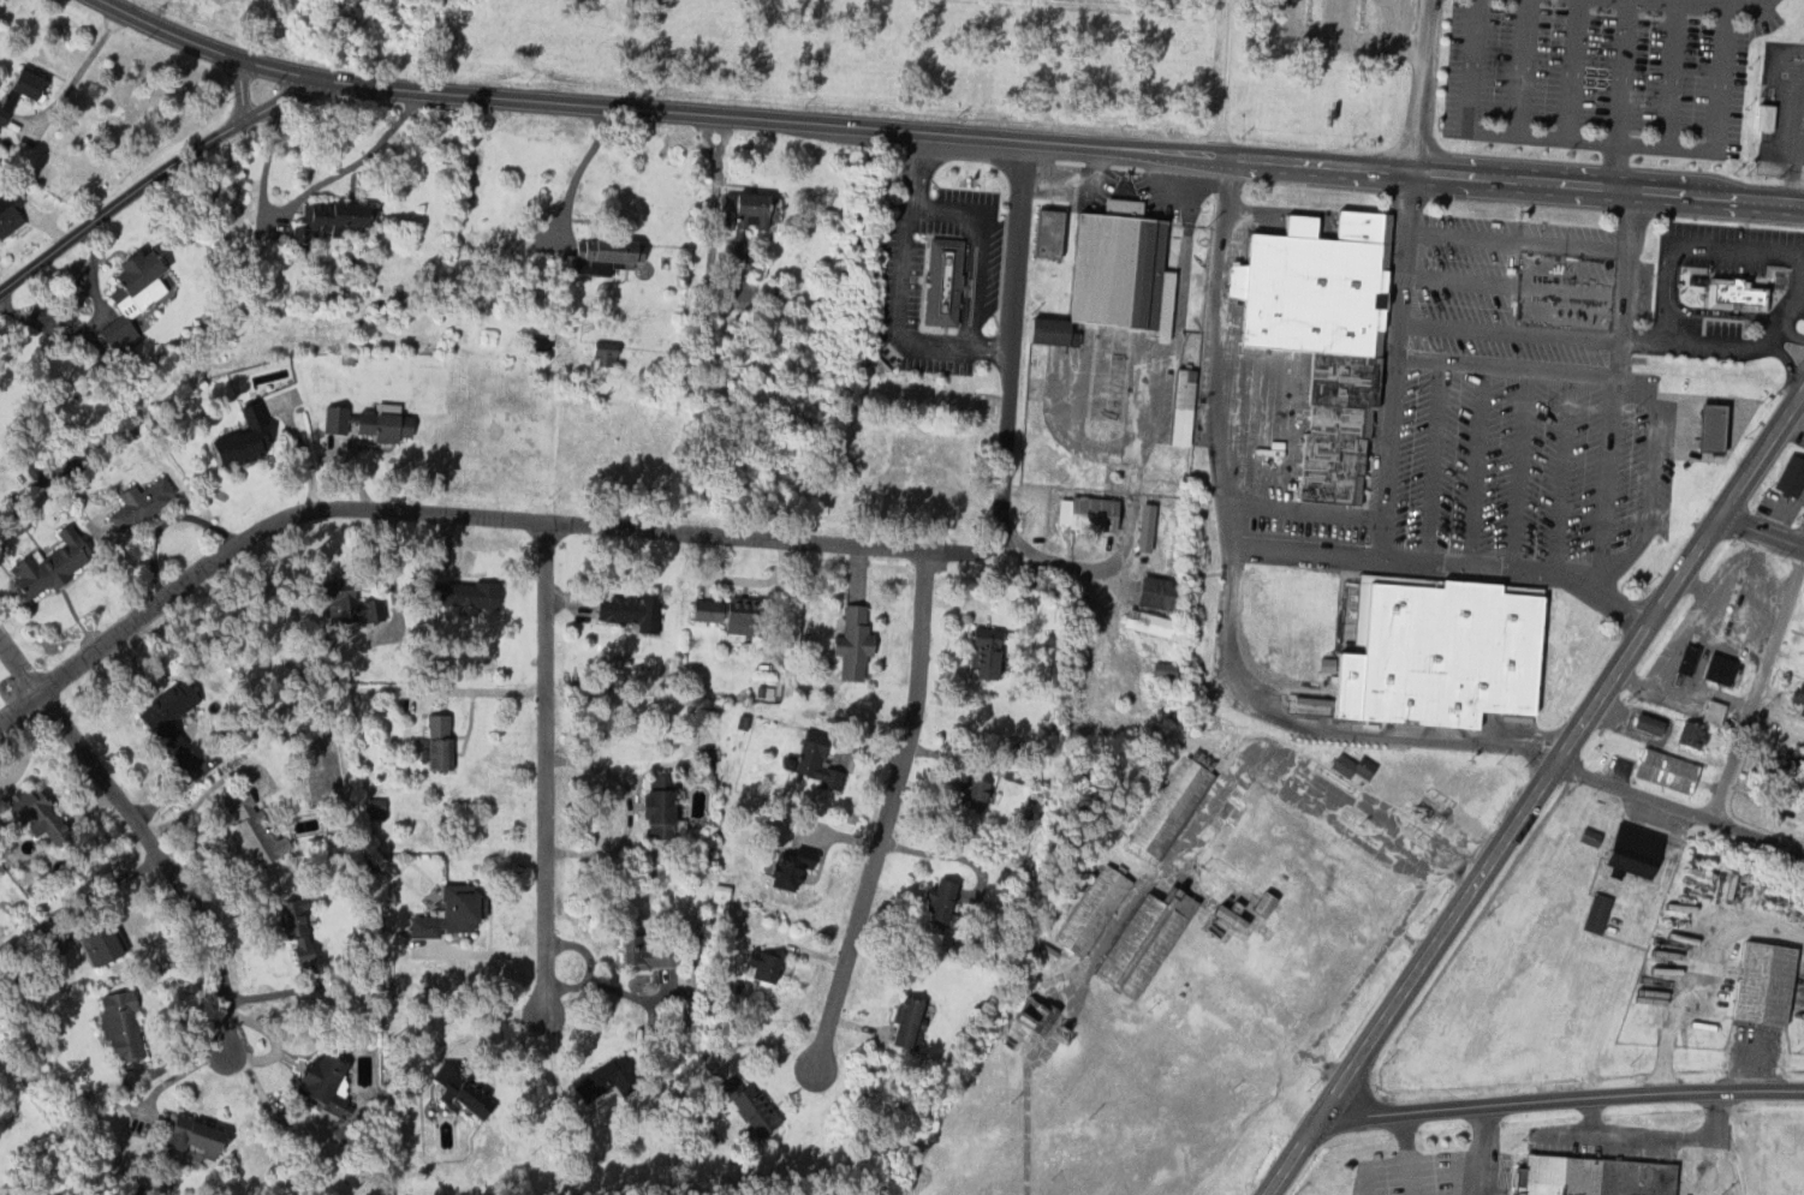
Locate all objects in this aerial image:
road: (1697, 2)
road: (1738, 2)
parking lot: (1601, 74)
road: (1418, 86)
building: (25, 91)
road: (1619, 95)
road: (948, 135)
road: (145, 183)
building: (8, 204)
building: (744, 210)
building: (334, 217)
building: (1043, 232)
building: (595, 259)
building: (149, 267)
building: (1109, 274)
building: (937, 281)
building: (1731, 292)
building: (120, 330)
building: (1315, 335)
building: (601, 352)
road: (1614, 389)
parking lot: (1525, 402)
building: (1177, 406)
building: (388, 424)
building: (1703, 426)
building: (250, 441)
building: (1787, 476)
building: (143, 503)
road: (1379, 510)
building: (1084, 513)
building: (1139, 527)
road: (666, 528)
road: (1763, 528)
road: (1058, 558)
building: (54, 562)
building: (1149, 592)
building: (475, 594)
building: (355, 601)
building: (623, 608)
building: (718, 614)
building: (1141, 622)
building: (1802, 637)
building: (849, 643)
building: (977, 646)
building: (1430, 650)
building: (1683, 659)
building: (1714, 669)
road: (1758, 683)
building: (1797, 697)
building: (172, 706)
building: (1710, 712)
building: (1644, 723)
building: (1687, 735)
building: (442, 740)
building: (810, 761)
road: (544, 765)
building: (1350, 766)
building: (1662, 770)
building: (1786, 770)
building: (968, 794)
road: (1540, 794)
building: (1166, 805)
building: (667, 806)
road: (1680, 809)
road: (887, 811)
building: (41, 812)
building: (258, 829)
road: (141, 836)
building: (1629, 849)
building: (794, 868)
building: (947, 901)
building: (1258, 904)
building: (1085, 912)
building: (457, 913)
building: (1594, 913)
building: (1137, 940)
building: (111, 943)
building: (650, 951)
building: (304, 954)
building: (1758, 982)
building: (911, 1021)
building: (124, 1023)
building: (325, 1075)
building: (466, 1093)
road: (1562, 1099)
building: (750, 1106)
building: (202, 1136)
building: (1588, 1176)

